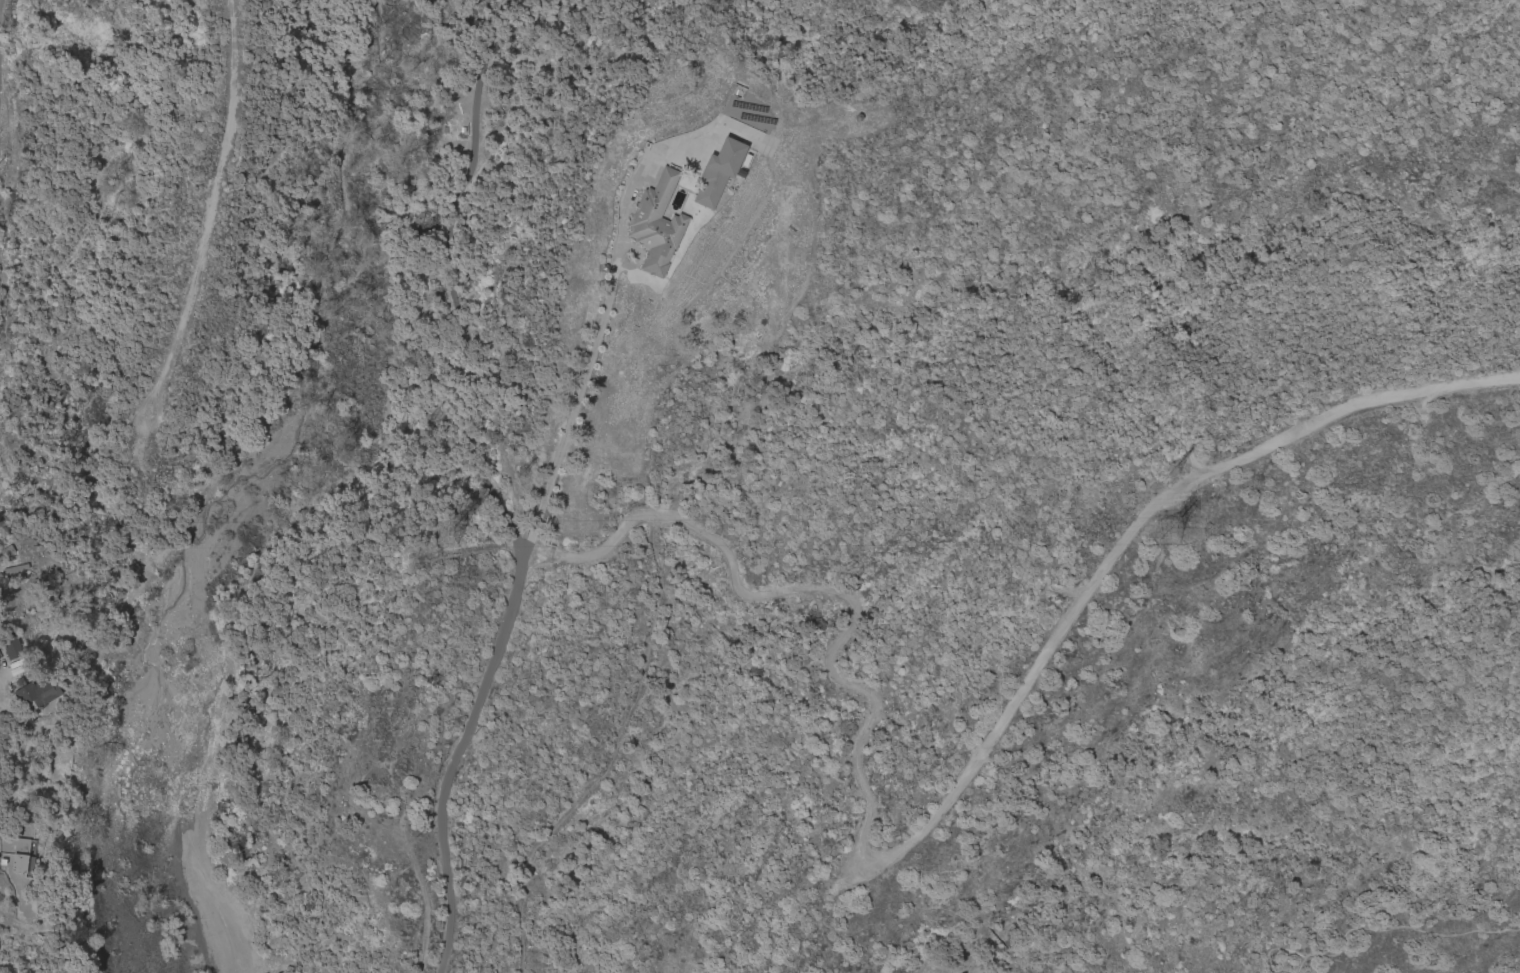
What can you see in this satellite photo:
building: (718, 171)
building: (656, 224)
road: (567, 425)
power tower: (1172, 467)
power tower: (519, 470)
road: (487, 489)
power tower: (1168, 535)
power tower: (447, 536)
building: (11, 646)
road: (0, 686)
building: (35, 693)
road: (939, 814)
building: (21, 854)
road: (1383, 925)

